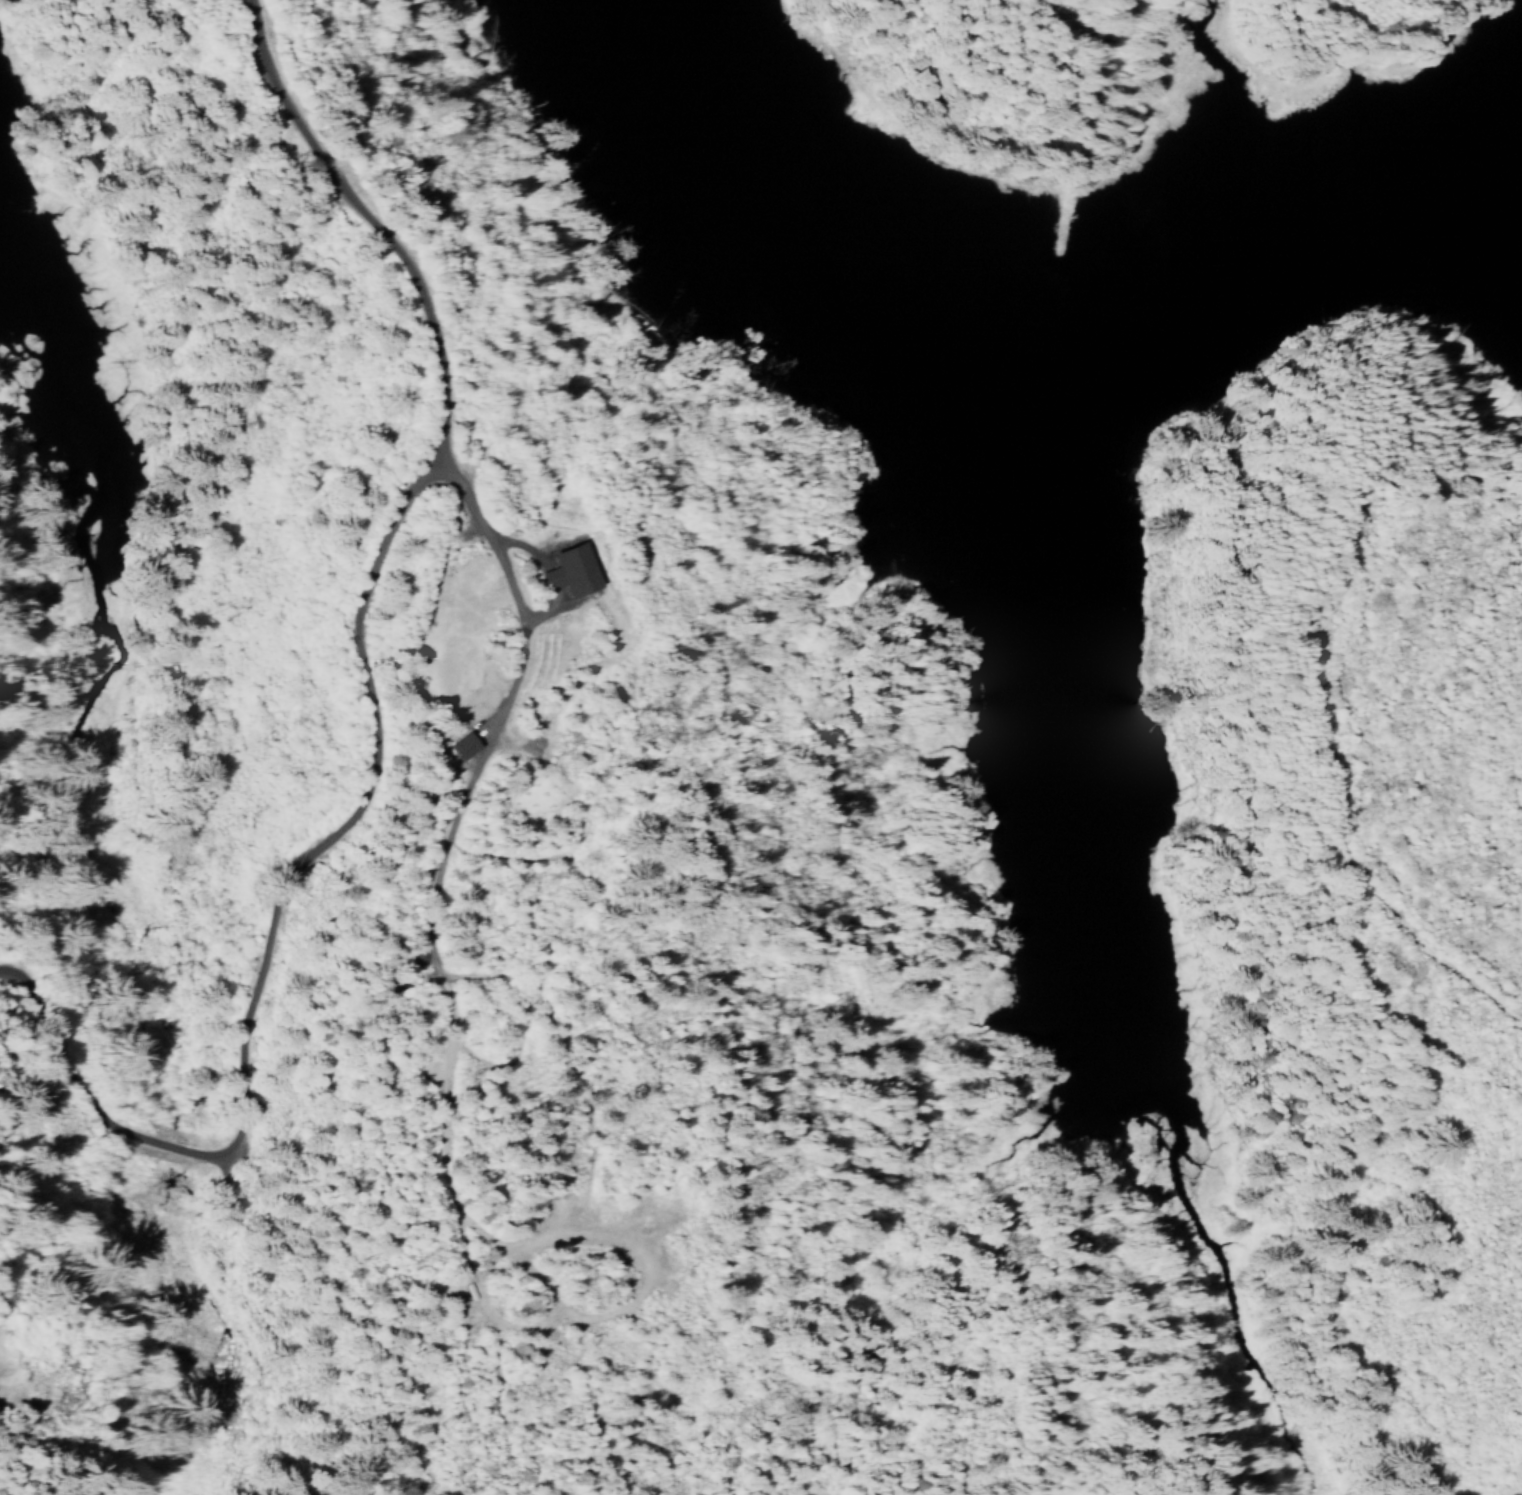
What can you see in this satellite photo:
building: (560, 569)
building: (453, 745)
building: (416, 954)

